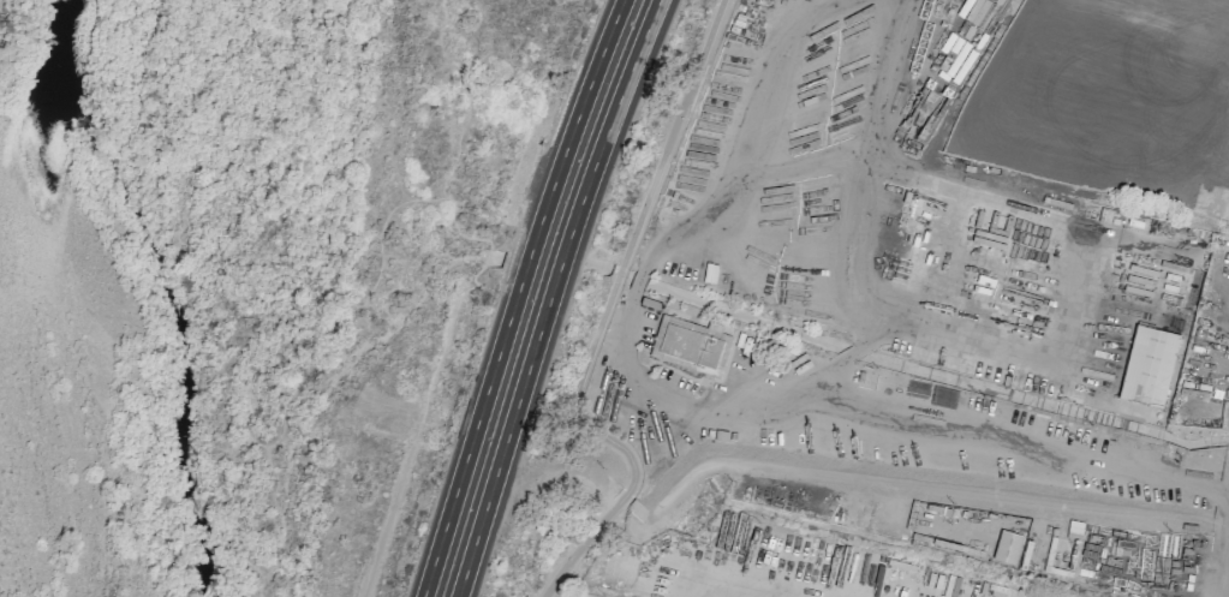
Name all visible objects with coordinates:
river: (65, 80)
road: (889, 85)
road: (763, 118)
road: (575, 124)
road: (610, 125)
road: (672, 132)
road: (1079, 229)
road: (527, 262)
road: (561, 263)
road: (618, 274)
building: (690, 342)
river: (180, 368)
building: (1146, 371)
road: (473, 435)
road: (508, 435)
road: (614, 443)
road: (1034, 446)
building: (1007, 547)

